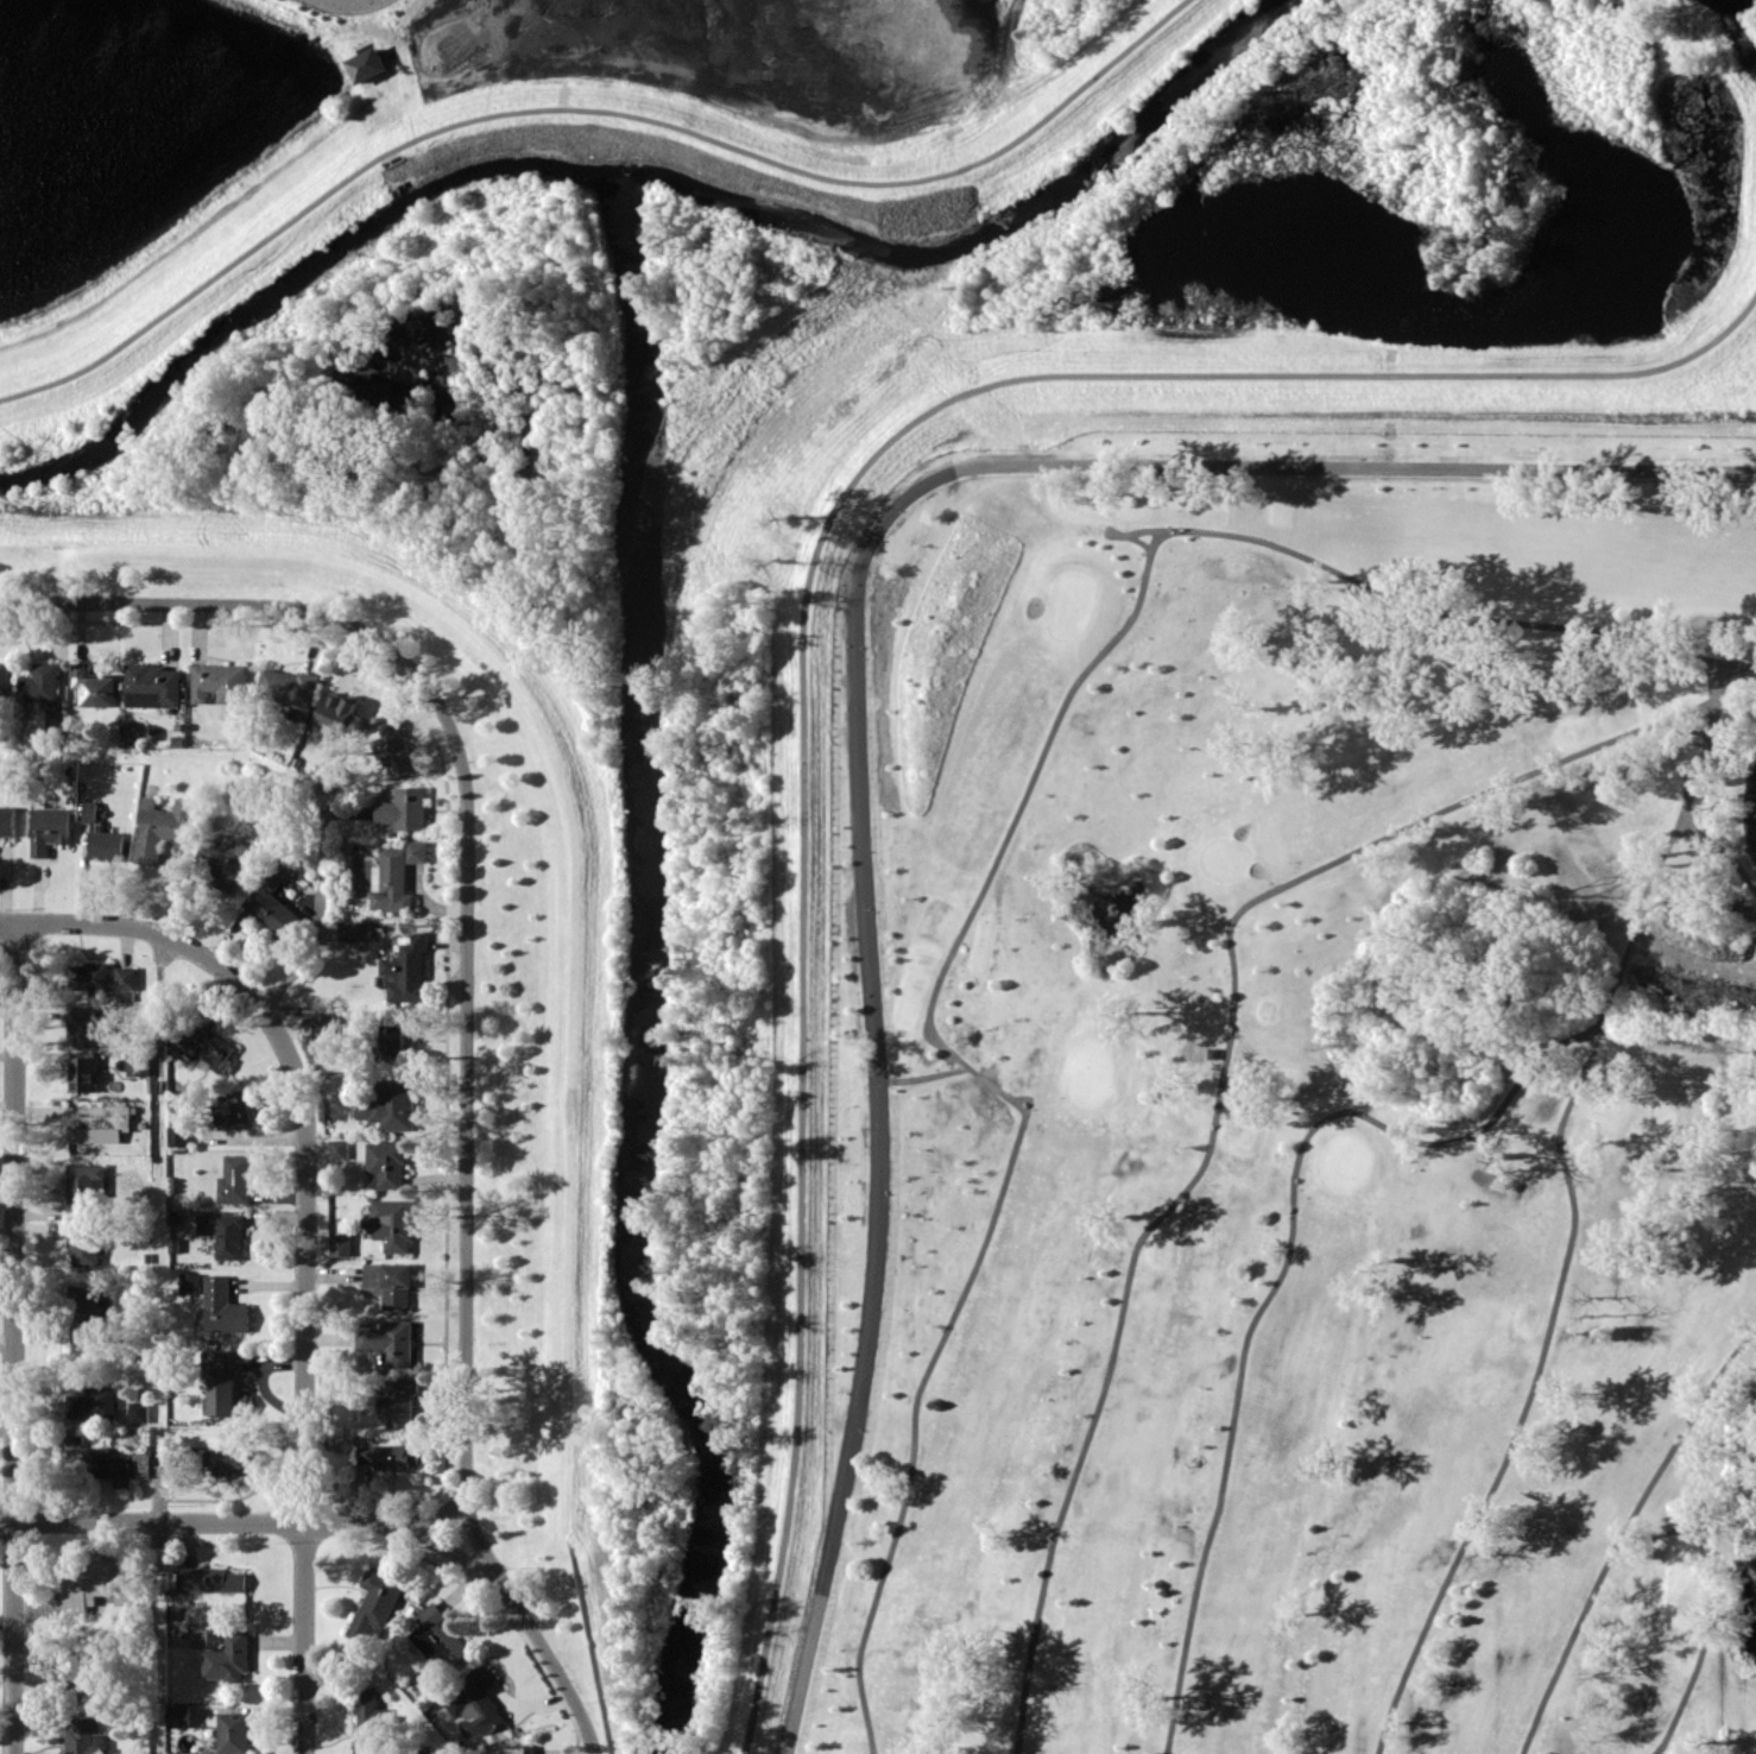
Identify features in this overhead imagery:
building: (367, 64)
road: (586, 109)
river: (975, 236)
river: (286, 289)
road: (309, 610)
road: (1426, 610)
road: (808, 633)
building: (5, 677)
building: (40, 682)
building: (220, 682)
building: (153, 684)
building: (94, 686)
building: (290, 686)
road: (857, 694)
building: (342, 713)
building: (397, 746)
building: (405, 808)
building: (90, 812)
building: (7, 820)
building: (162, 827)
building: (49, 828)
building: (108, 845)
road: (1723, 847)
building: (225, 862)
building: (394, 875)
building: (273, 907)
road: (318, 917)
park: (1215, 927)
building: (353, 930)
building: (406, 967)
building: (101, 977)
building: (323, 1022)
building: (89, 1027)
building: (393, 1039)
building: (204, 1041)
building: (138, 1065)
building: (83, 1073)
road: (924, 1075)
road: (1220, 1087)
building: (391, 1104)
road: (1021, 1105)
building: (234, 1106)
park: (1310, 1122)
building: (178, 1135)
building: (340, 1148)
building: (386, 1165)
building: (235, 1179)
building: (84, 1187)
road: (1572, 1210)
building: (393, 1223)
road: (305, 1231)
building: (223, 1232)
building: (341, 1244)
building: (83, 1245)
road: (1280, 1274)
building: (190, 1282)
building: (391, 1282)
building: (223, 1306)
road: (465, 1314)
building: (89, 1318)
road: (12, 1337)
building: (390, 1342)
road: (158, 1343)
building: (227, 1387)
building: (398, 1400)
building: (94, 1403)
building: (139, 1412)
building: (383, 1456)
building: (108, 1460)
building: (230, 1462)
road: (255, 1526)
road: (1622, 1531)
building: (211, 1579)
building: (97, 1584)
building: (375, 1605)
building: (438, 1636)
road: (1703, 1643)
building: (222, 1651)
building: (90, 1673)
building: (474, 1702)
building: (179, 1715)
building: (368, 1722)
building: (234, 1733)
building: (81, 1736)
building: (510, 1750)

